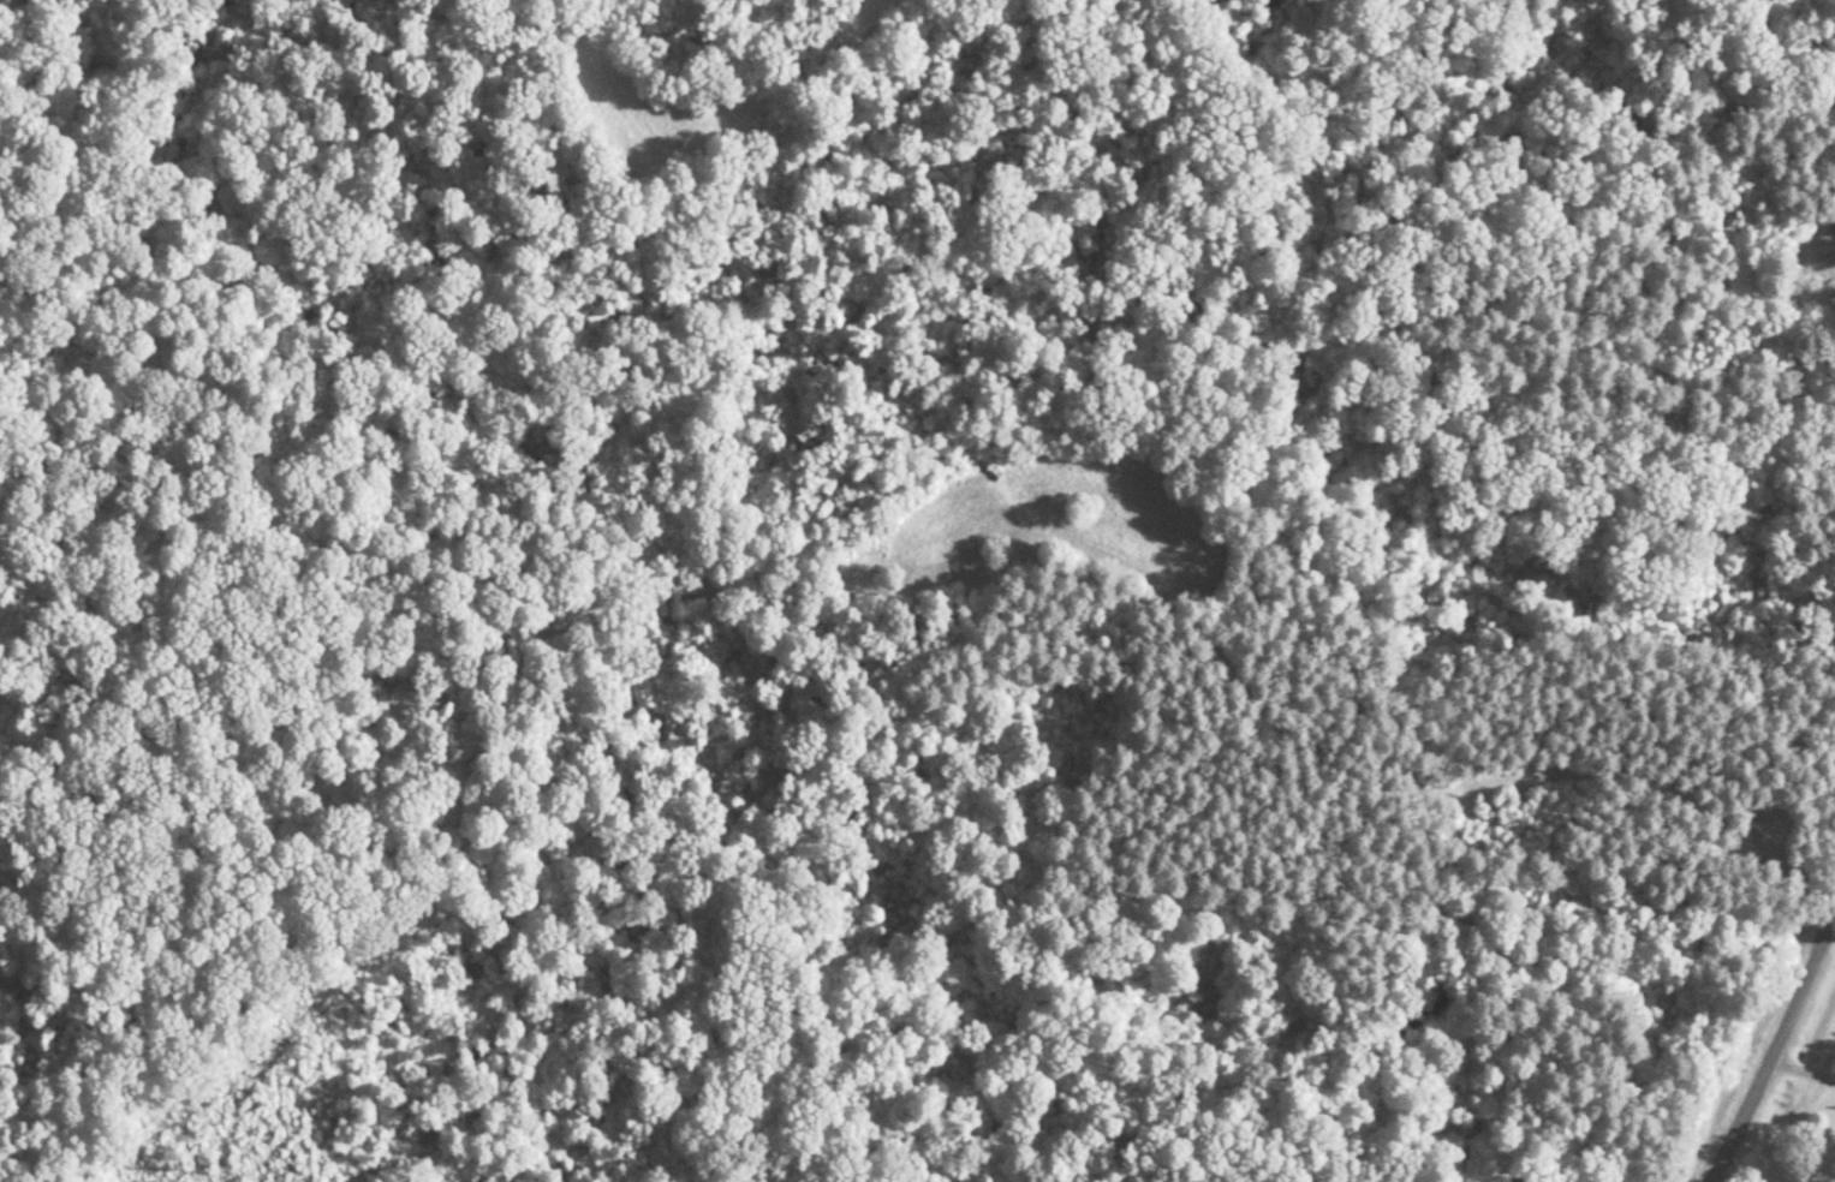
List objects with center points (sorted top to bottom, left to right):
road: (1773, 1041)

